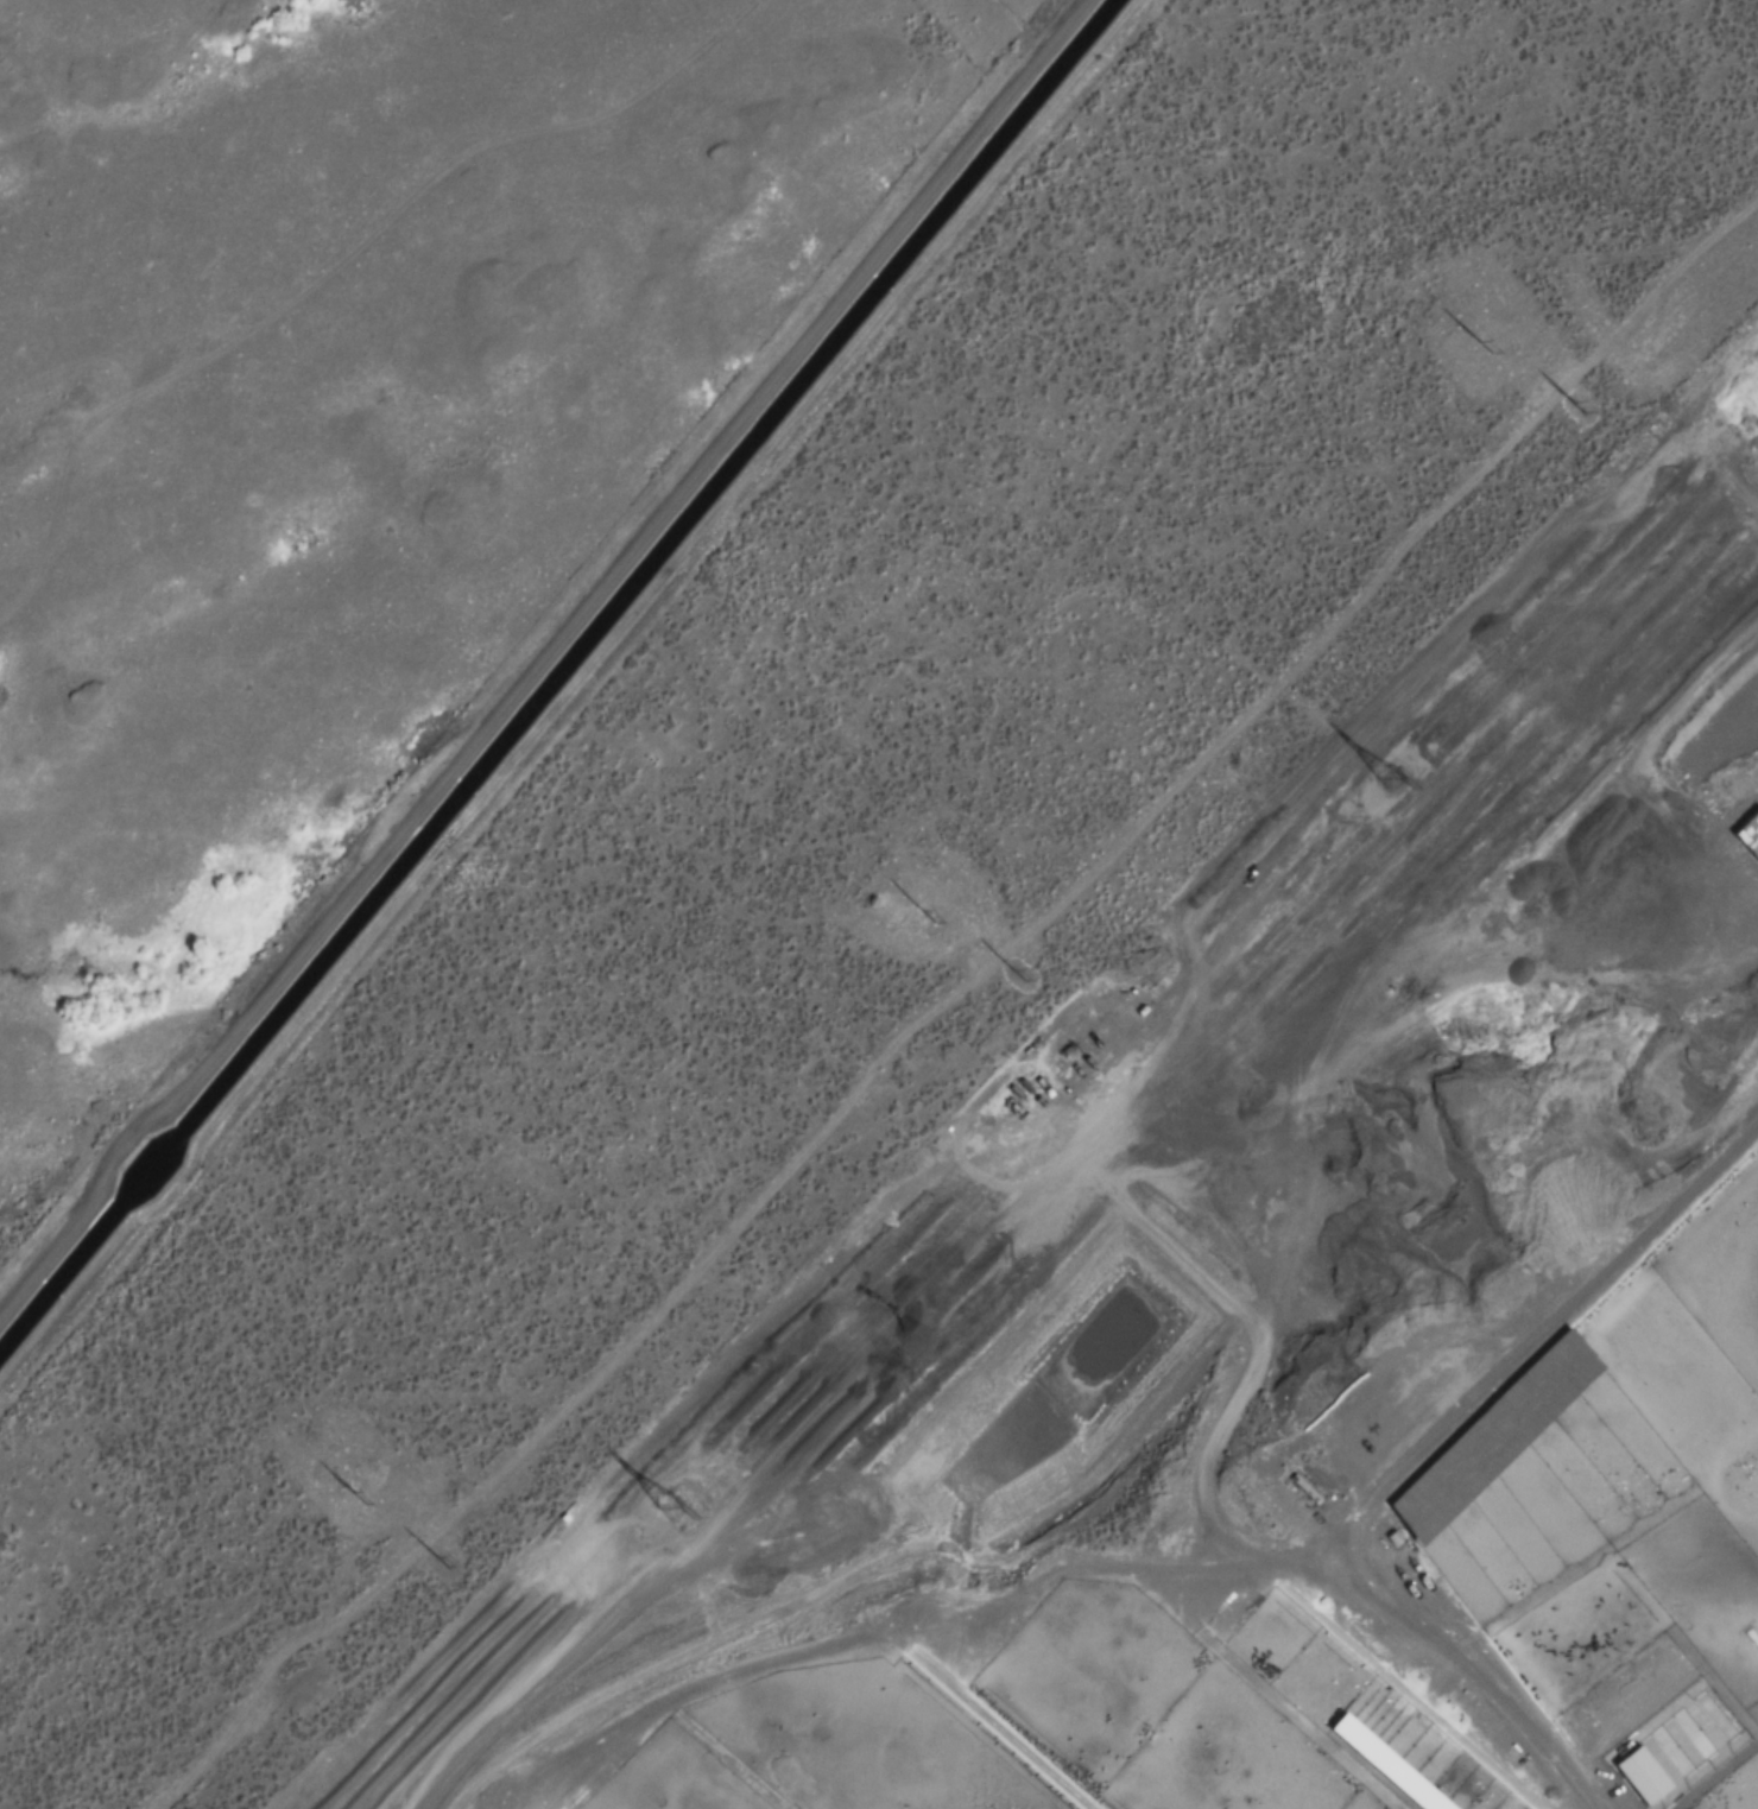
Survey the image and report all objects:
power tower: (1581, 406)
power tower: (1386, 777)
power tower: (1017, 974)
building: (1497, 1437)
power tower: (658, 1500)
power tower: (438, 1562)

